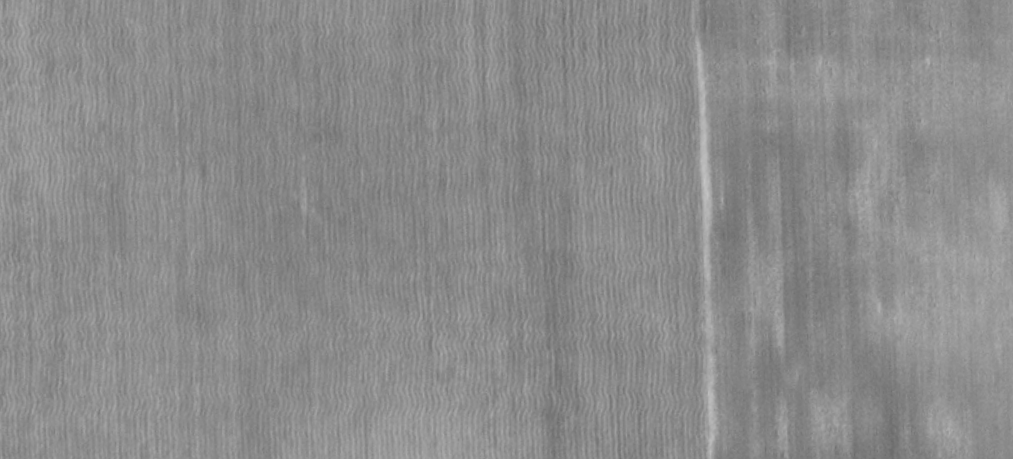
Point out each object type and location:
crop: (853, 227)
crop: (347, 230)

